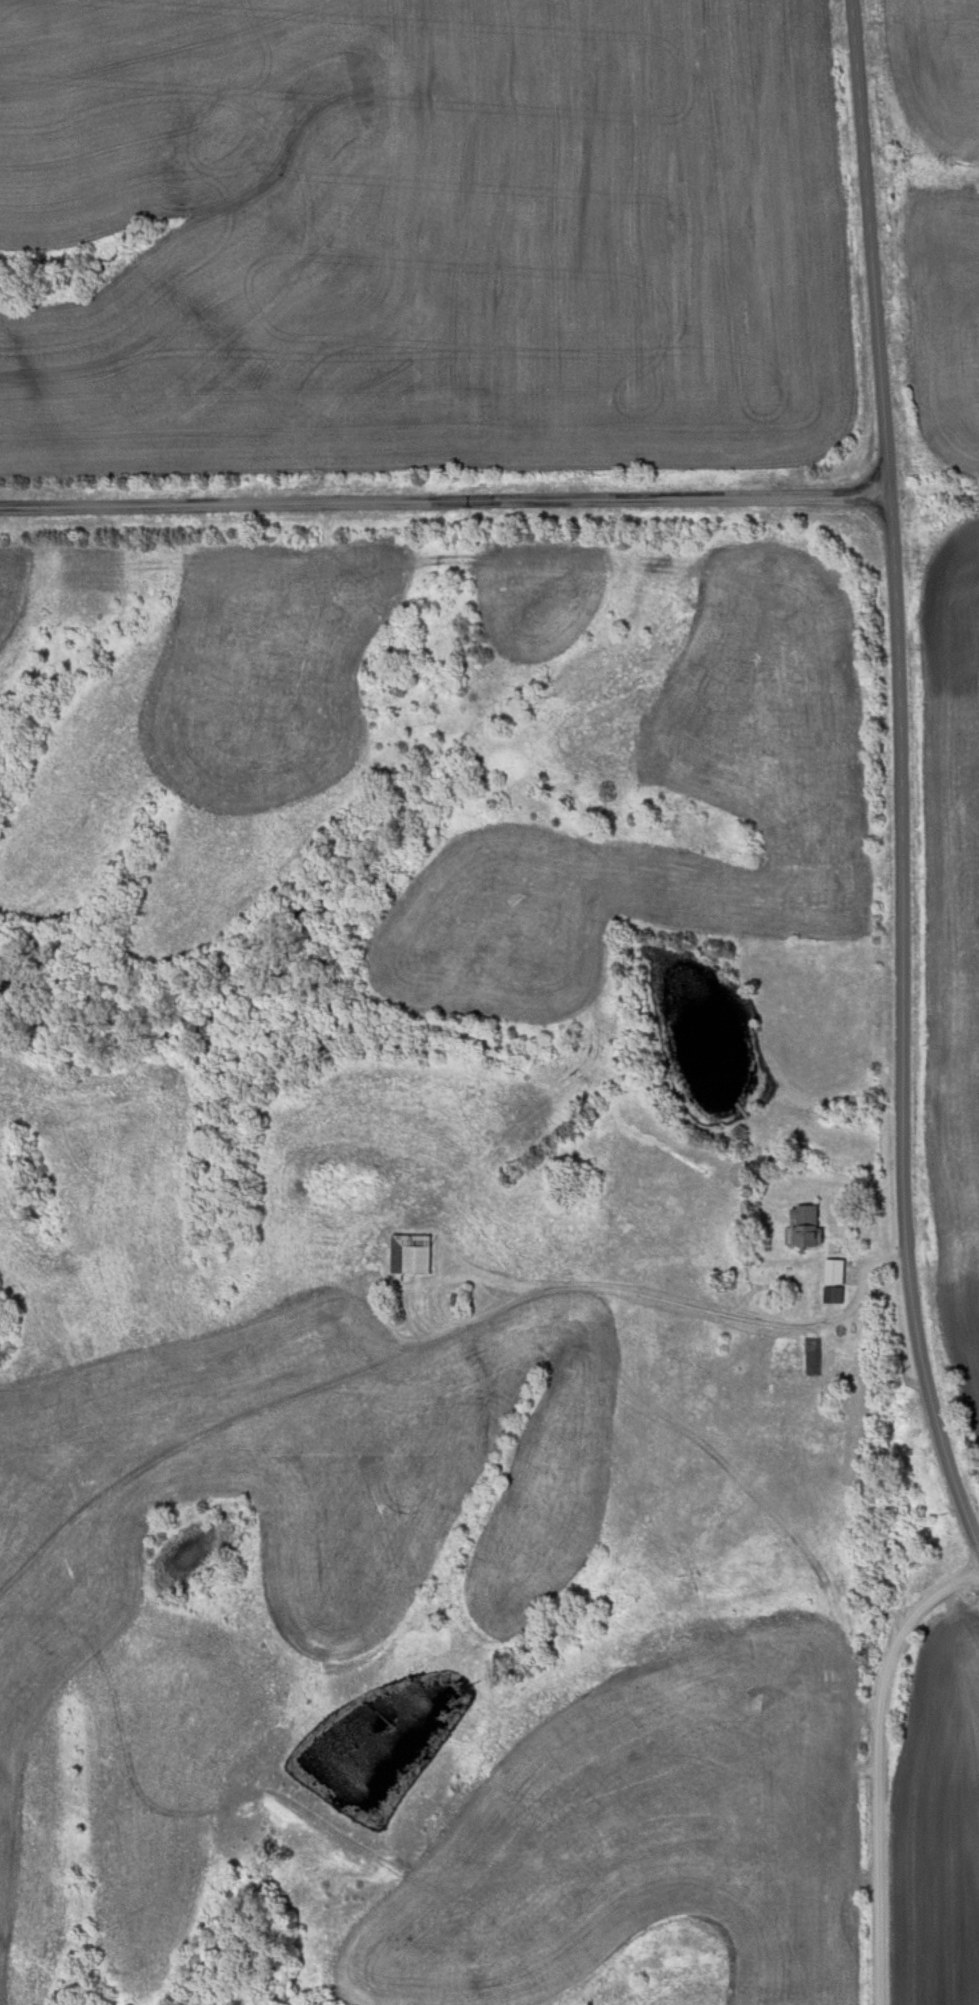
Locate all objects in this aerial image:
road: (444, 498)
road: (899, 766)
building: (805, 1226)
building: (410, 1255)
building: (834, 1281)
road: (881, 1765)

